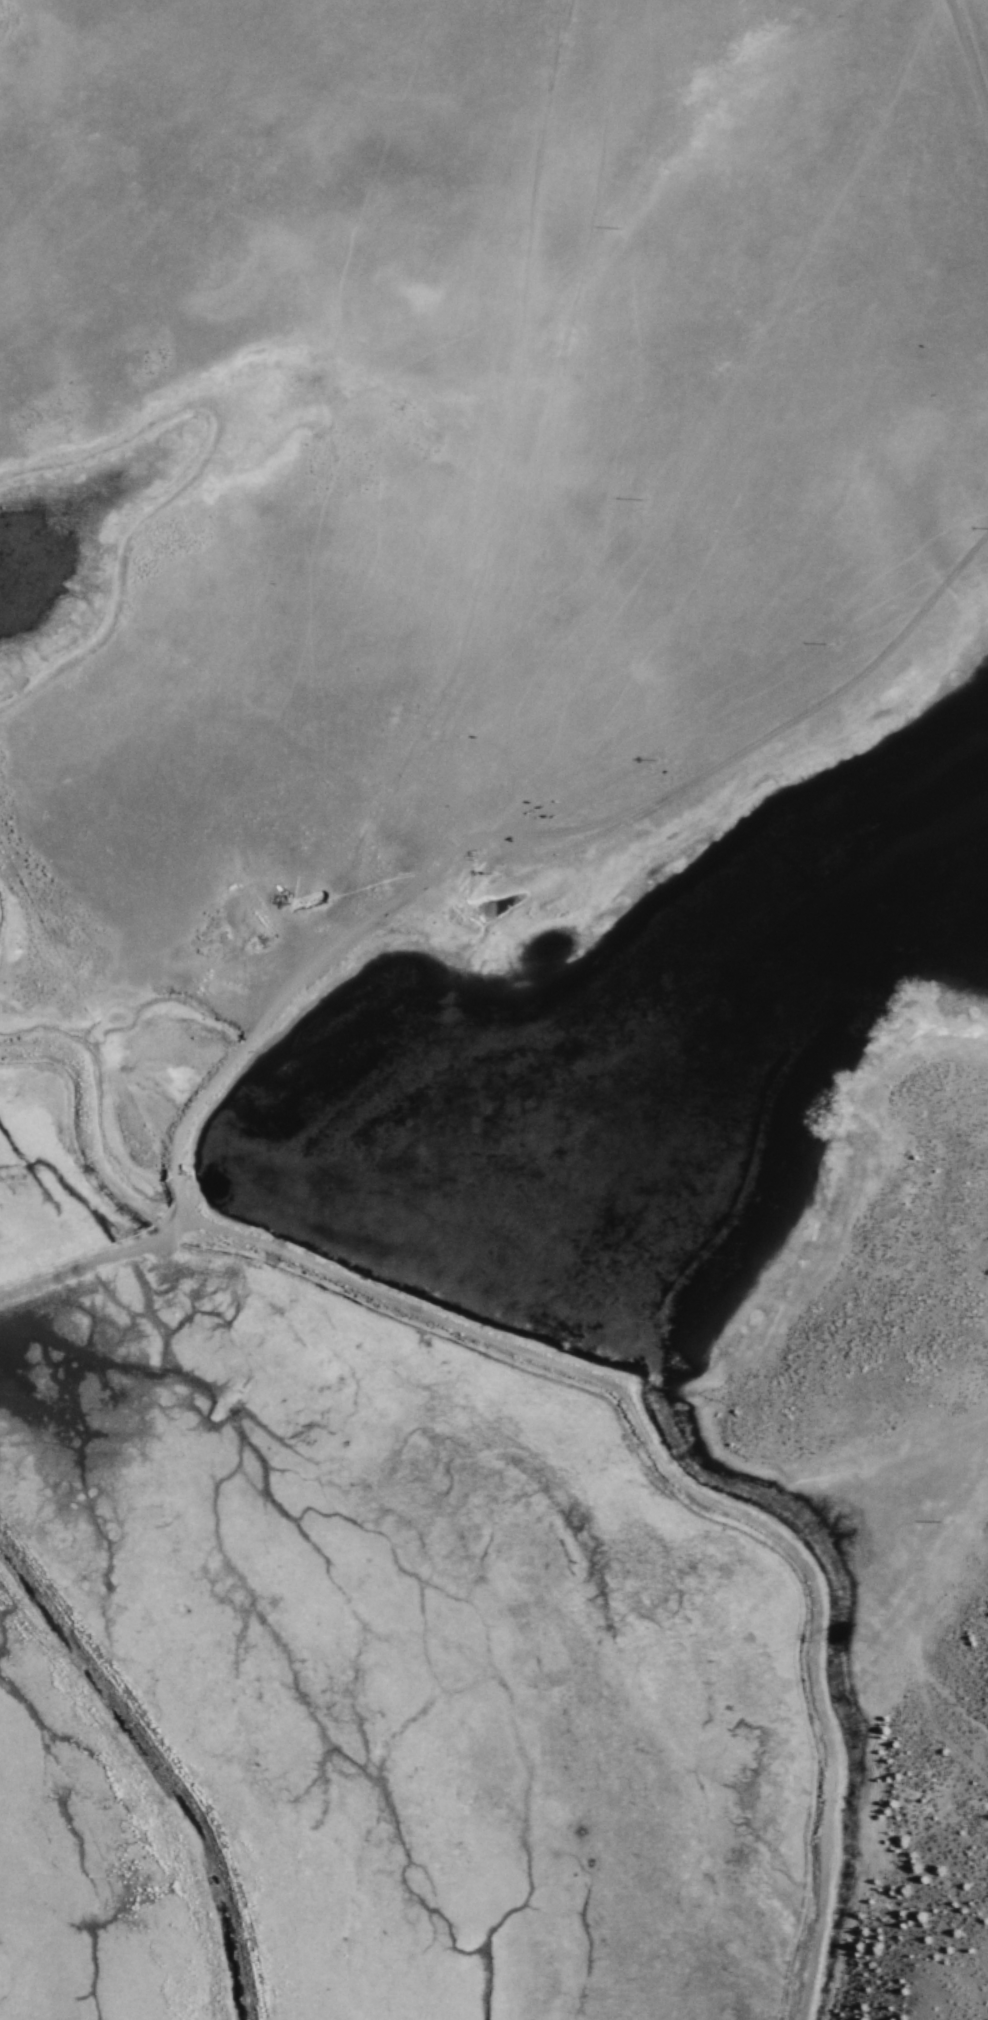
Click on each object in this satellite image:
road: (971, 44)

